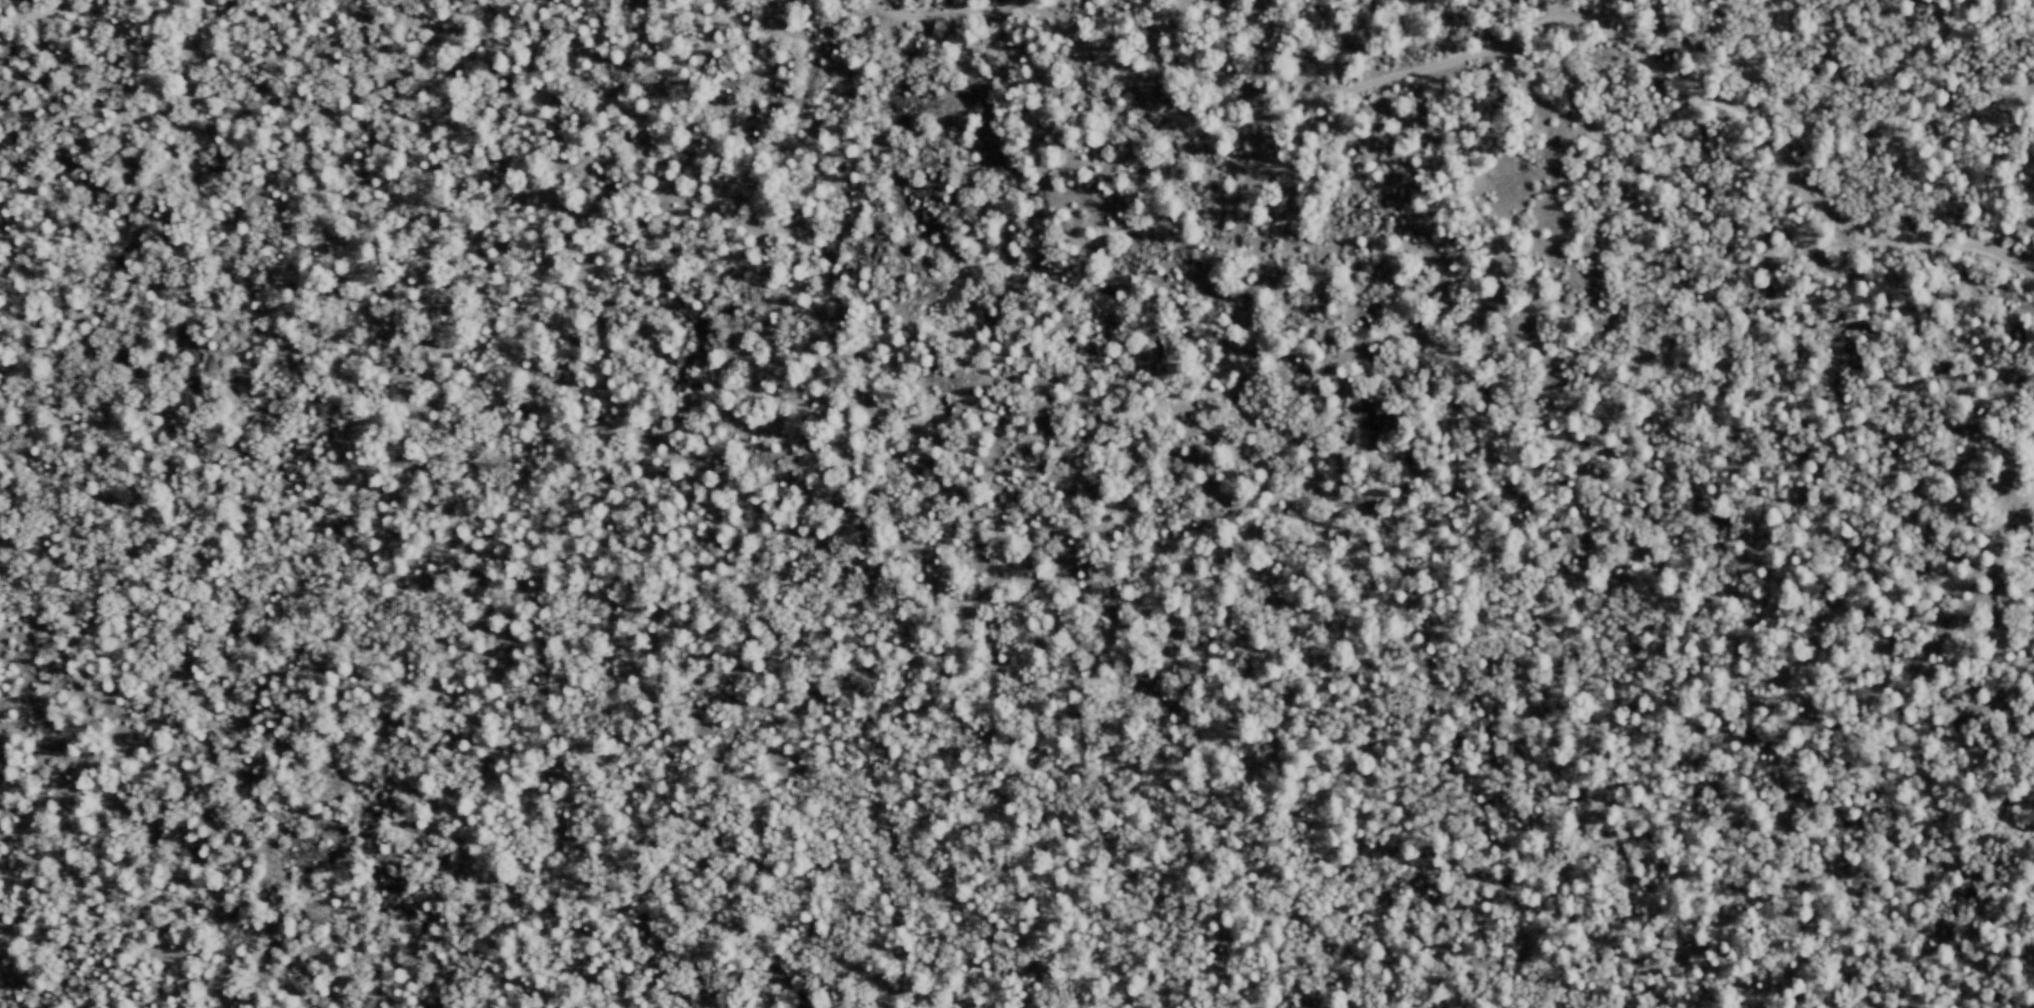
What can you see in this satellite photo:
road: (1489, 45)

